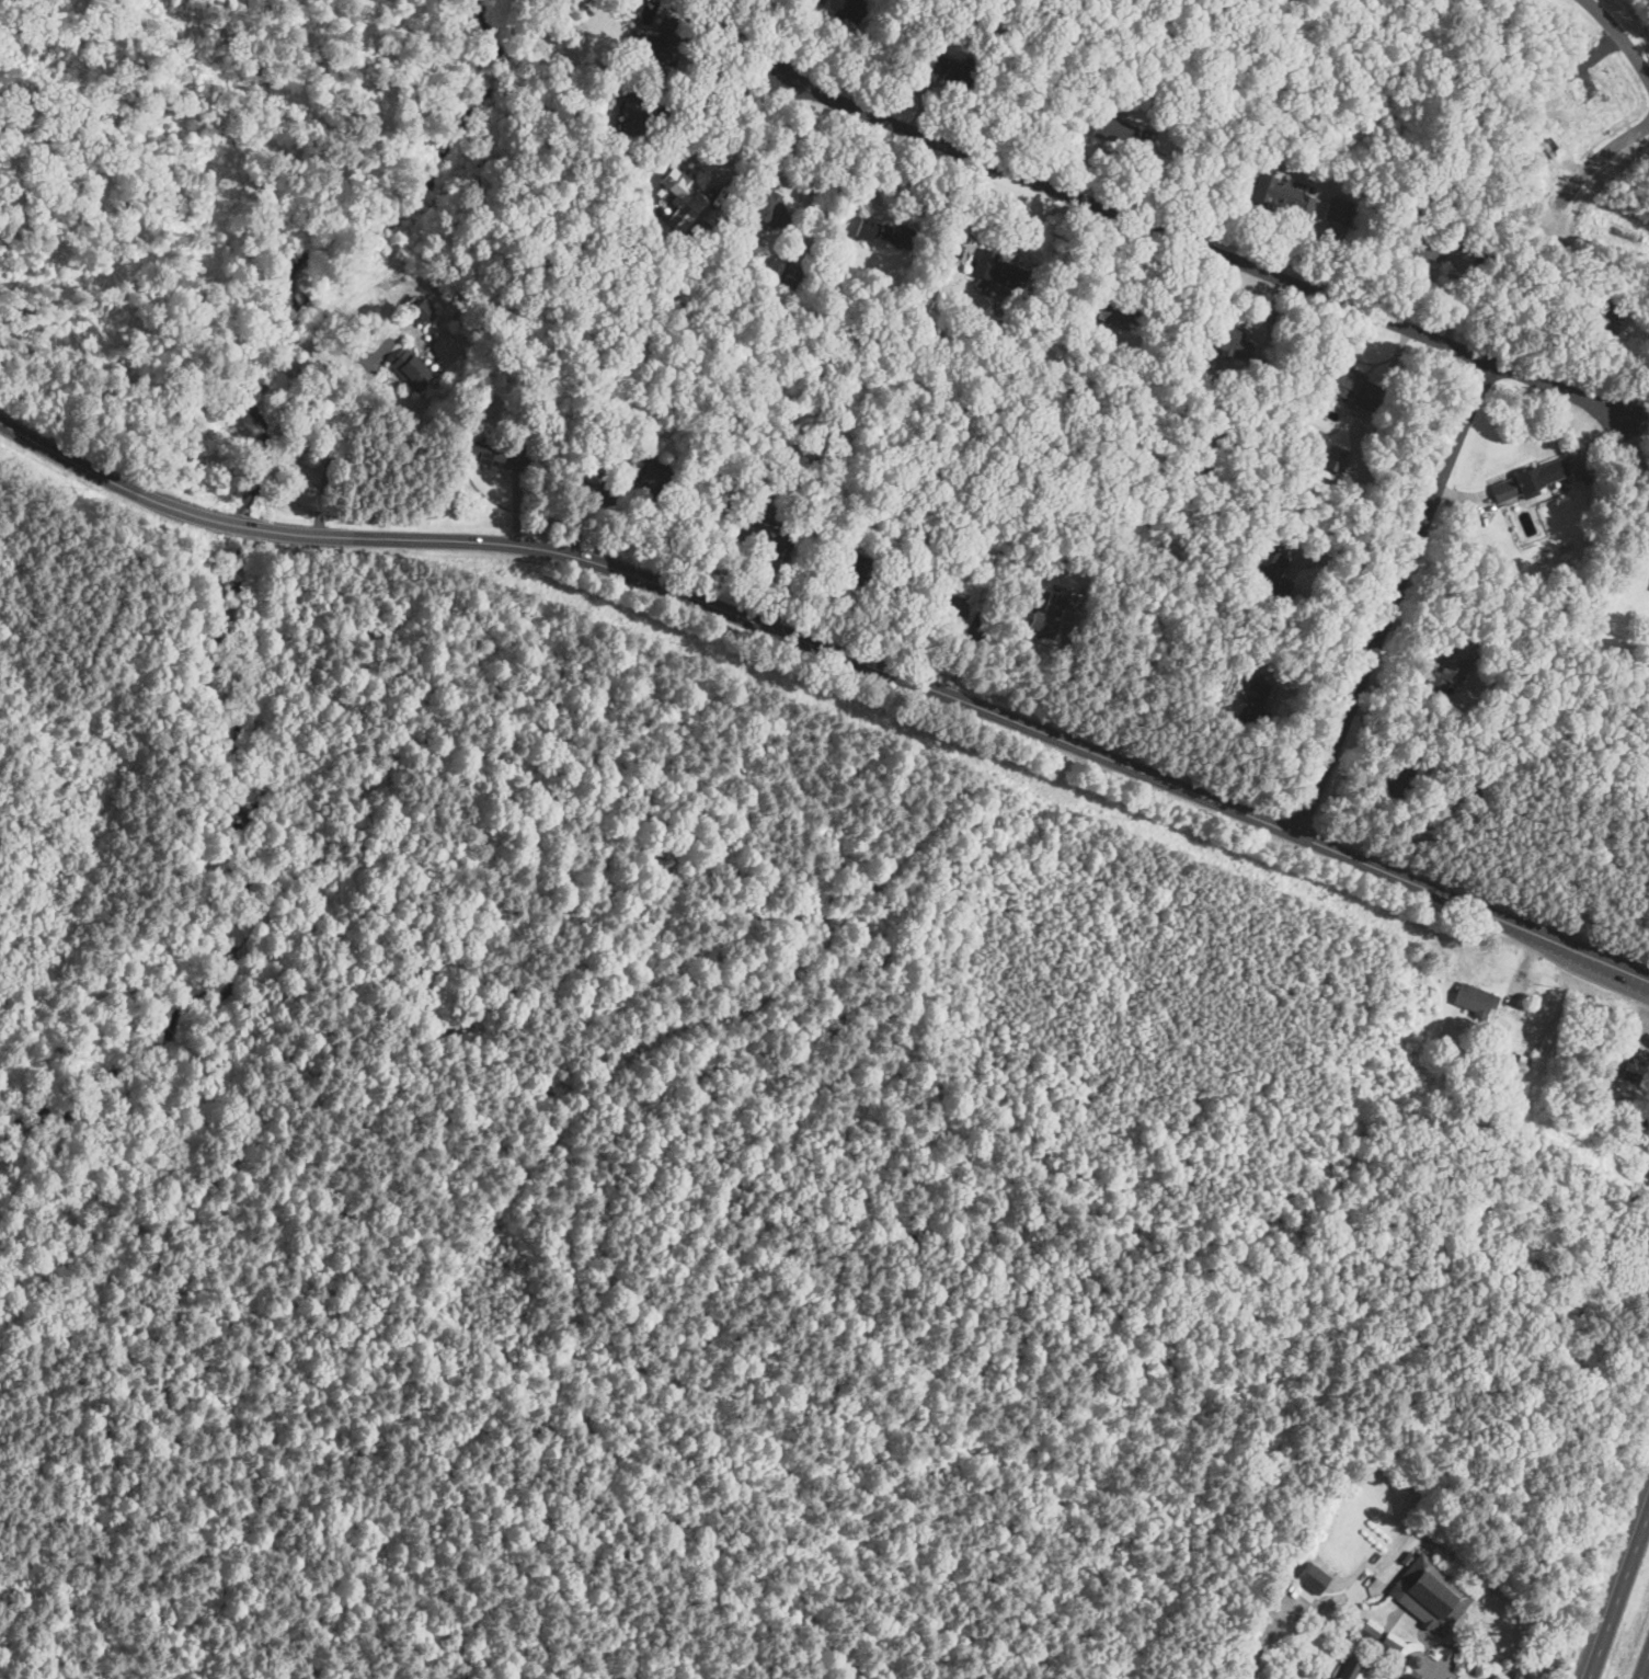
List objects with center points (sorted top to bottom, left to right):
building: (845, 8)
road: (1626, 33)
road: (745, 35)
building: (659, 42)
building: (950, 68)
road: (725, 98)
building: (635, 114)
road: (746, 123)
building: (1111, 128)
road: (1599, 156)
building: (1279, 197)
building: (680, 202)
building: (768, 204)
building: (1336, 213)
building: (851, 219)
building: (1331, 231)
building: (885, 232)
building: (963, 245)
road: (1205, 247)
building: (1423, 249)
building: (795, 260)
building: (999, 270)
building: (422, 311)
building: (1106, 313)
building: (1596, 323)
building: (1224, 340)
building: (411, 370)
building: (1350, 386)
road: (1640, 426)
building: (489, 450)
building: (1333, 457)
road: (328, 460)
building: (654, 480)
building: (1524, 481)
building: (597, 487)
building: (767, 538)
building: (852, 568)
building: (1268, 569)
road: (1392, 596)
building: (951, 608)
building: (1046, 615)
road: (835, 651)
building: (1445, 671)
road: (1058, 681)
building: (1253, 698)
building: (1475, 998)
road: (1508, 1006)
road: (1642, 1037)
building: (1636, 1071)
parking lot: (1328, 1567)
road: (1398, 1569)
building: (1429, 1591)
road: (1618, 1595)
road: (1298, 1608)
building: (1366, 1630)
road: (1422, 1634)
road: (1376, 1640)
road: (1435, 1642)
building: (1387, 1644)
road: (1412, 1649)
road: (1644, 1665)
building: (1349, 1667)
road: (1369, 1667)
building: (1412, 1667)
building: (1290, 1675)
road: (1432, 1676)

